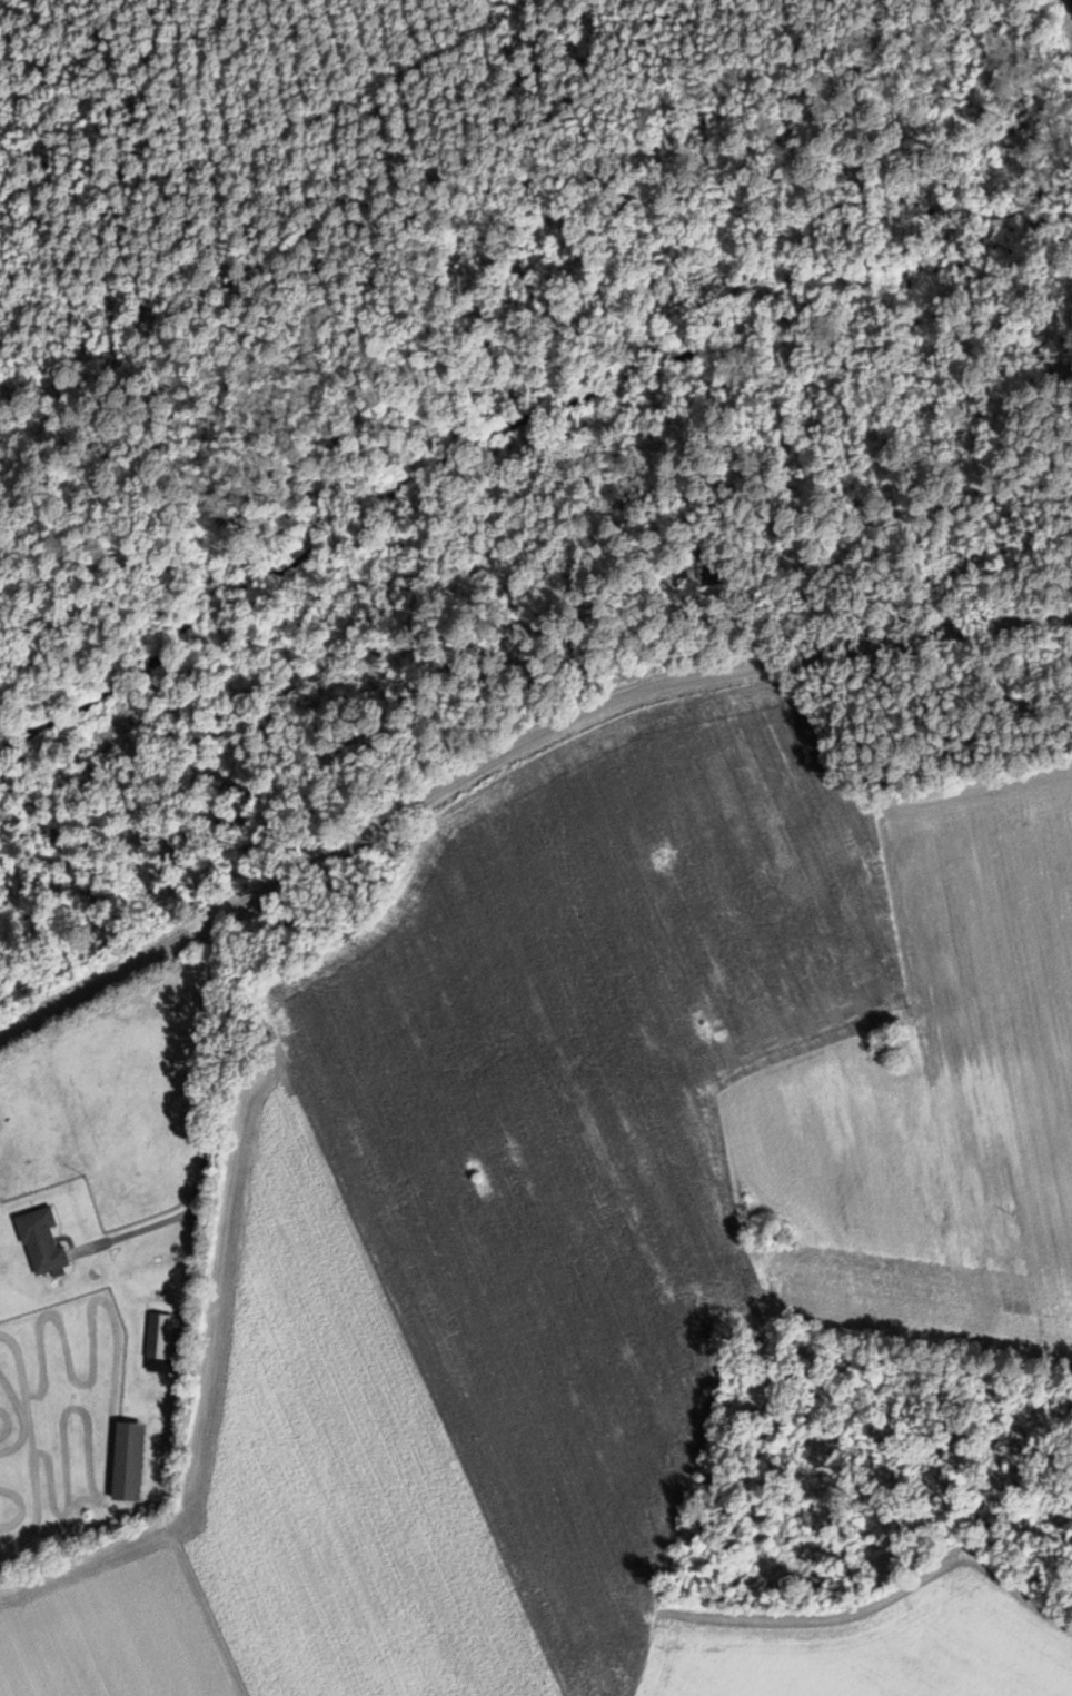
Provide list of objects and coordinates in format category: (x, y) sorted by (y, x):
building: (715, 571)
road: (509, 756)
building: (43, 1241)
building: (162, 1342)
building: (131, 1460)

